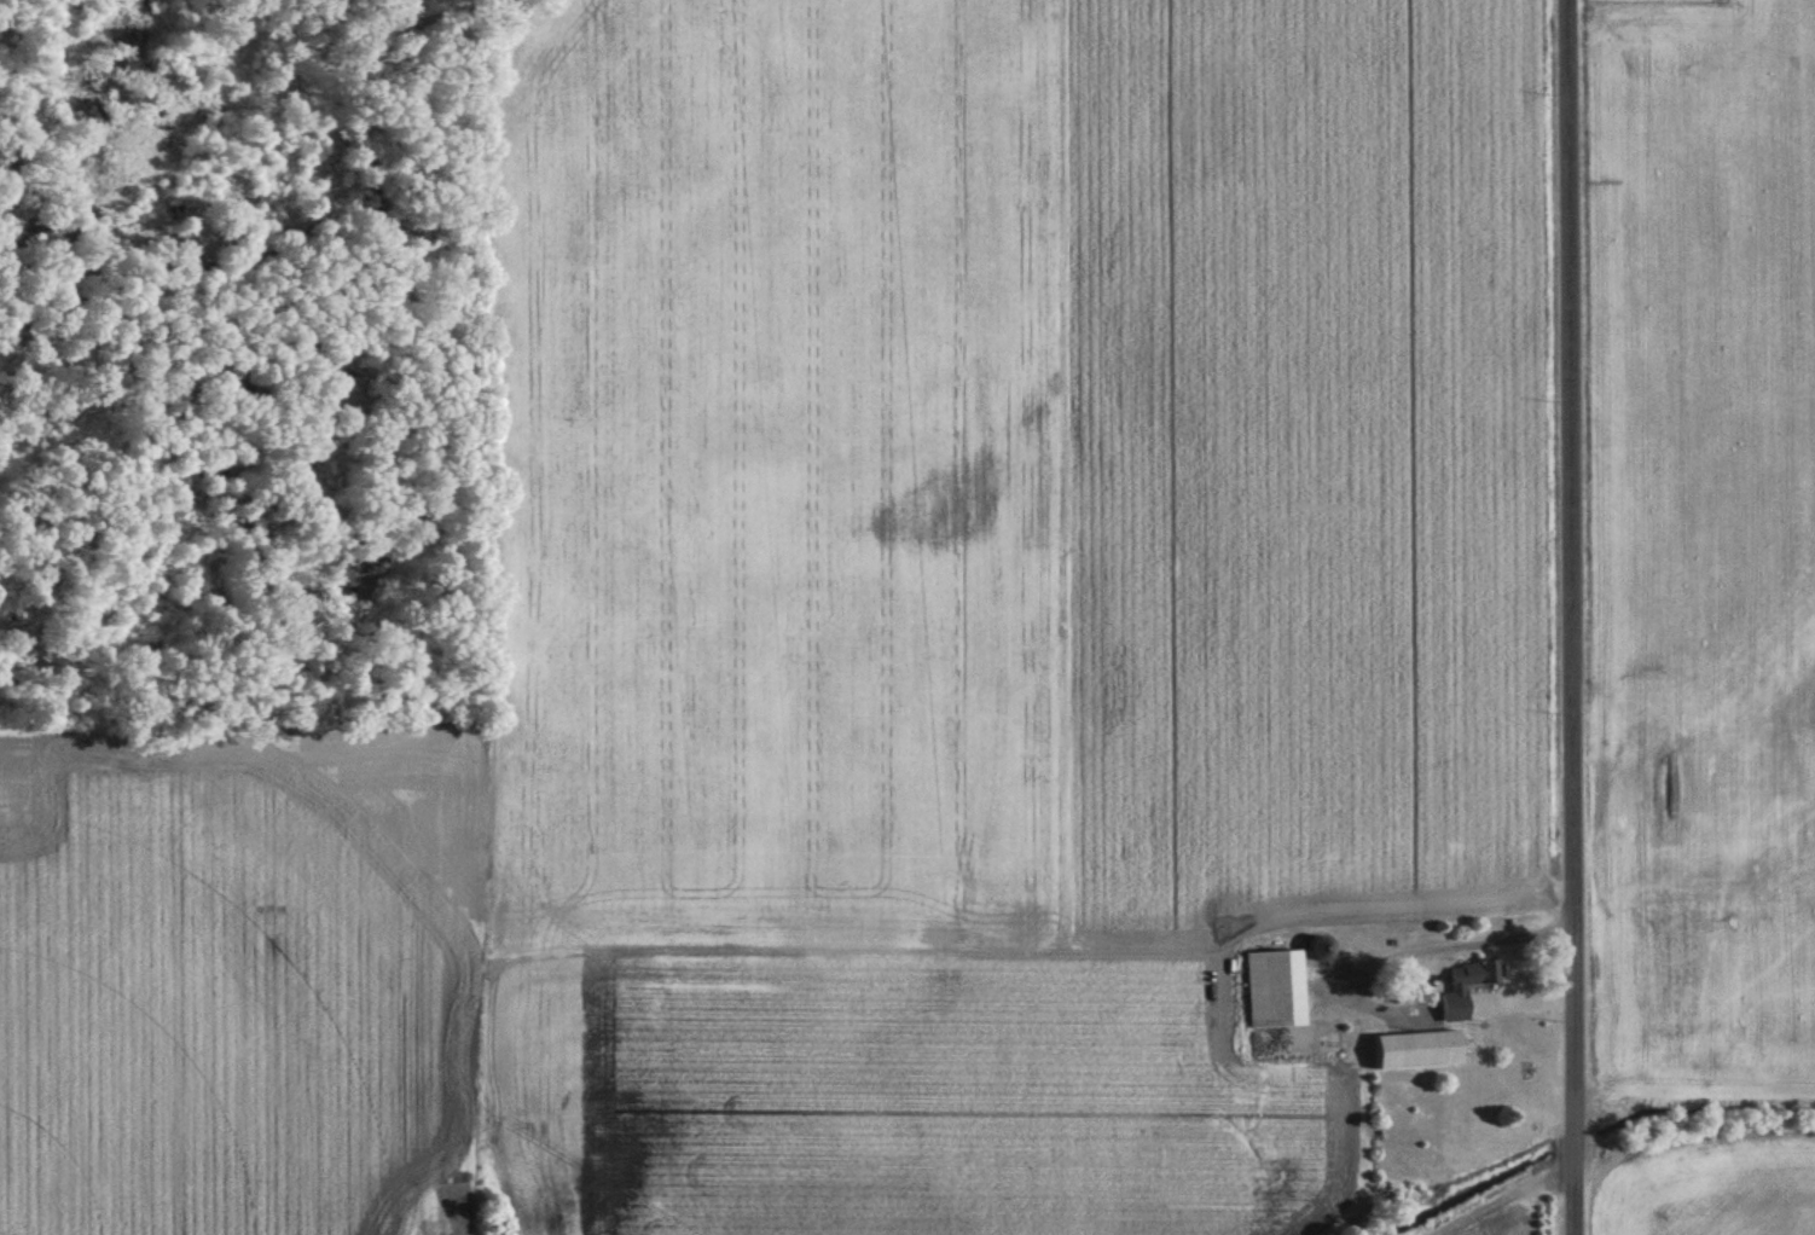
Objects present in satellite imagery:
road: (1572, 617)
building: (1312, 949)
building: (1269, 990)
building: (1451, 990)
building: (1409, 1051)

